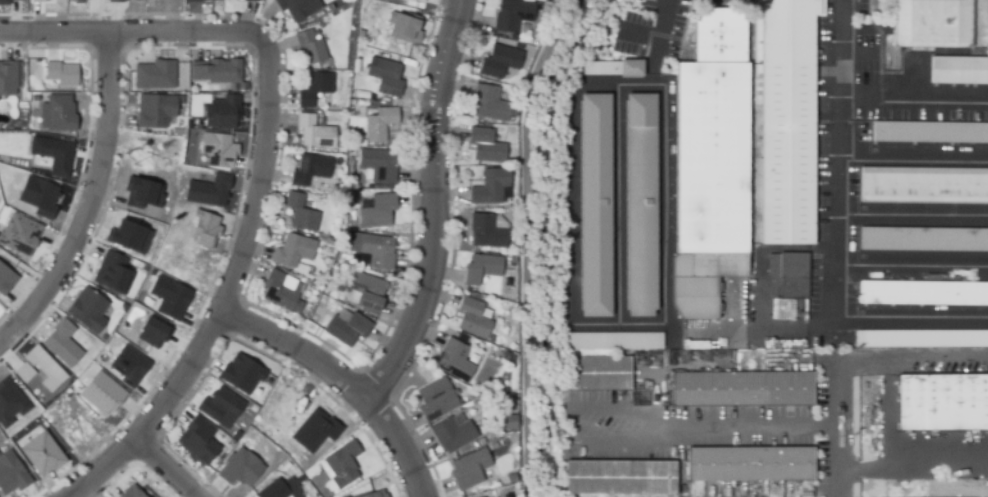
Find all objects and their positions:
building: (193, 0)
building: (419, 0)
building: (78, 1)
building: (113, 1)
building: (251, 1)
building: (401, 1)
building: (3, 2)
building: (297, 7)
building: (513, 16)
building: (932, 23)
building: (405, 28)
road: (134, 35)
road: (641, 38)
road: (658, 42)
building: (311, 47)
road: (856, 54)
building: (500, 62)
building: (612, 67)
building: (216, 71)
building: (959, 71)
building: (60, 74)
building: (152, 74)
building: (386, 76)
building: (6, 79)
building: (315, 89)
building: (490, 103)
road: (911, 104)
building: (152, 110)
building: (220, 111)
building: (58, 114)
building: (380, 124)
building: (930, 132)
building: (315, 133)
building: (486, 146)
building: (742, 147)
building: (217, 149)
building: (51, 153)
road: (911, 162)
building: (379, 165)
building: (311, 170)
building: (924, 185)
building: (489, 190)
building: (205, 191)
building: (137, 192)
building: (36, 196)
building: (639, 203)
building: (594, 204)
road: (617, 206)
road: (93, 207)
road: (437, 207)
building: (378, 212)
building: (301, 213)
road: (911, 217)
building: (204, 229)
building: (489, 231)
building: (19, 232)
building: (127, 236)
road: (520, 239)
road: (833, 240)
building: (923, 240)
building: (294, 251)
building: (377, 251)
road: (910, 264)
building: (482, 269)
building: (112, 273)
building: (790, 275)
building: (5, 278)
building: (280, 291)
building: (365, 292)
road: (760, 293)
building: (924, 293)
building: (167, 297)
road: (227, 297)
building: (85, 309)
building: (474, 316)
road: (585, 327)
building: (348, 329)
building: (149, 331)
building: (922, 339)
building: (612, 340)
building: (60, 343)
building: (451, 357)
road: (913, 357)
building: (127, 364)
building: (42, 368)
building: (22, 372)
building: (599, 373)
building: (241, 374)
road: (344, 382)
building: (743, 389)
building: (99, 392)
building: (435, 399)
building: (8, 402)
building: (943, 403)
building: (220, 404)
road: (602, 411)
building: (508, 422)
road: (707, 426)
road: (840, 426)
building: (313, 430)
building: (453, 433)
building: (195, 440)
building: (466, 448)
building: (40, 453)
building: (340, 464)
building: (751, 464)
building: (237, 468)
building: (470, 469)
road: (914, 469)
road: (165, 471)
building: (9, 474)
building: (620, 477)
building: (512, 478)
building: (271, 490)
building: (130, 492)
building: (369, 495)
building: (380, 496)

